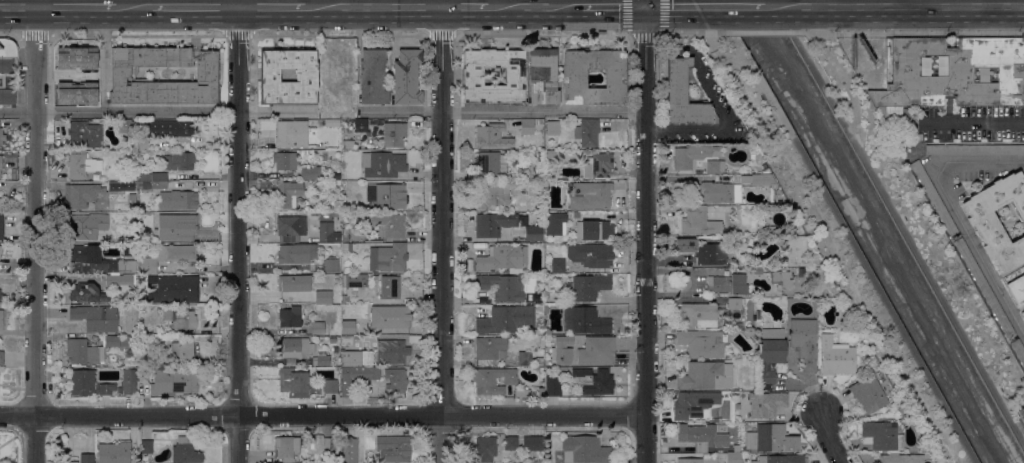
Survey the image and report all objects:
road: (45, 3)
road: (813, 3)
road: (892, 3)
road: (911, 3)
road: (974, 3)
road: (644, 4)
road: (17, 7)
road: (75, 7)
road: (132, 7)
road: (193, 7)
road: (272, 7)
road: (374, 7)
road: (465, 7)
road: (533, 7)
road: (610, 7)
road: (661, 7)
road: (722, 7)
road: (789, 7)
road: (918, 7)
traffic signals: (644, 8)
road: (920, 32)
road: (643, 34)
building: (7, 56)
building: (76, 59)
building: (894, 68)
building: (122, 75)
building: (957, 75)
building: (305, 76)
building: (542, 76)
building: (372, 77)
building: (406, 77)
building: (473, 77)
building: (574, 79)
building: (75, 93)
building: (684, 96)
building: (7, 97)
road: (712, 102)
road: (504, 111)
road: (155, 113)
building: (332, 123)
building: (538, 123)
building: (360, 126)
building: (526, 127)
building: (895, 127)
building: (552, 128)
building: (128, 130)
building: (166, 132)
building: (285, 133)
building: (586, 133)
building: (84, 134)
building: (393, 135)
building: (492, 136)
building: (1, 137)
building: (914, 137)
building: (347, 144)
building: (974, 150)
building: (550, 154)
building: (540, 155)
building: (692, 156)
building: (179, 161)
building: (285, 161)
building: (1, 163)
building: (382, 164)
building: (488, 165)
building: (597, 165)
building: (81, 166)
building: (714, 167)
building: (309, 173)
parking lot: (974, 175)
building: (152, 177)
building: (758, 180)
building: (310, 184)
building: (346, 184)
building: (153, 185)
building: (122, 187)
building: (534, 189)
building: (719, 193)
building: (287, 194)
building: (589, 195)
road: (883, 195)
building: (85, 196)
building: (492, 196)
building: (389, 197)
building: (933, 199)
building: (131, 200)
building: (176, 200)
building: (1, 204)
road: (954, 211)
building: (314, 214)
building: (145, 218)
road: (836, 218)
park: (914, 221)
building: (981, 221)
building: (698, 222)
building: (493, 223)
building: (555, 224)
building: (387, 225)
building: (180, 226)
building: (1, 227)
building: (81, 227)
building: (290, 228)
building: (594, 230)
road: (237, 231)
building: (768, 231)
building: (325, 232)
building: (533, 233)
road: (35, 235)
building: (345, 235)
road: (441, 235)
road: (644, 235)
building: (345, 248)
building: (1, 250)
building: (794, 251)
park: (837, 251)
building: (129, 252)
building: (705, 252)
building: (296, 253)
building: (590, 255)
building: (166, 257)
building: (387, 258)
building: (503, 259)
building: (96, 262)
building: (330, 264)
building: (557, 265)
building: (766, 265)
building: (757, 271)
building: (780, 278)
building: (117, 279)
building: (353, 281)
building: (293, 284)
building: (726, 284)
building: (389, 287)
building: (501, 287)
building: (587, 287)
building: (983, 287)
building: (1016, 288)
building: (172, 290)
building: (88, 293)
building: (342, 294)
building: (323, 297)
building: (1, 298)
building: (529, 298)
building: (734, 304)
building: (546, 308)
building: (344, 310)
building: (363, 312)
building: (1023, 313)
building: (728, 314)
building: (698, 315)
building: (757, 315)
building: (395, 317)
building: (95, 318)
building: (179, 318)
building: (289, 318)
building: (1, 320)
building: (505, 320)
building: (584, 321)
building: (802, 325)
building: (317, 328)
building: (332, 340)
building: (116, 341)
building: (346, 341)
building: (701, 344)
building: (294, 348)
building: (804, 348)
building: (490, 349)
building: (564, 349)
building: (335, 350)
building: (395, 351)
building: (1018, 351)
building: (82, 352)
building: (181, 353)
building: (769, 354)
building: (835, 357)
building: (1, 358)
building: (356, 358)
building: (322, 359)
building: (523, 359)
building: (538, 362)
building: (132, 363)
building: (554, 371)
building: (702, 377)
building: (355, 378)
building: (395, 380)
building: (492, 380)
building: (293, 381)
building: (595, 381)
building: (81, 382)
building: (128, 382)
building: (180, 382)
building: (332, 385)
building: (552, 386)
building: (105, 389)
building: (540, 392)
building: (522, 393)
building: (867, 395)
building: (692, 404)
building: (765, 404)
parking lot: (1019, 413)
road: (322, 415)
building: (746, 427)
building: (704, 436)
building: (880, 436)
building: (772, 438)
road: (832, 439)
building: (510, 443)
building: (532, 443)
building: (59, 444)
building: (329, 444)
building: (736, 446)
building: (146, 447)
building: (286, 448)
building: (393, 449)
building: (485, 449)
building: (348, 450)
building: (584, 450)
building: (185, 452)
building: (114, 453)
building: (85, 458)
building: (733, 458)
building: (898, 458)
building: (780, 459)
building: (689, 461)
building: (73, 462)

